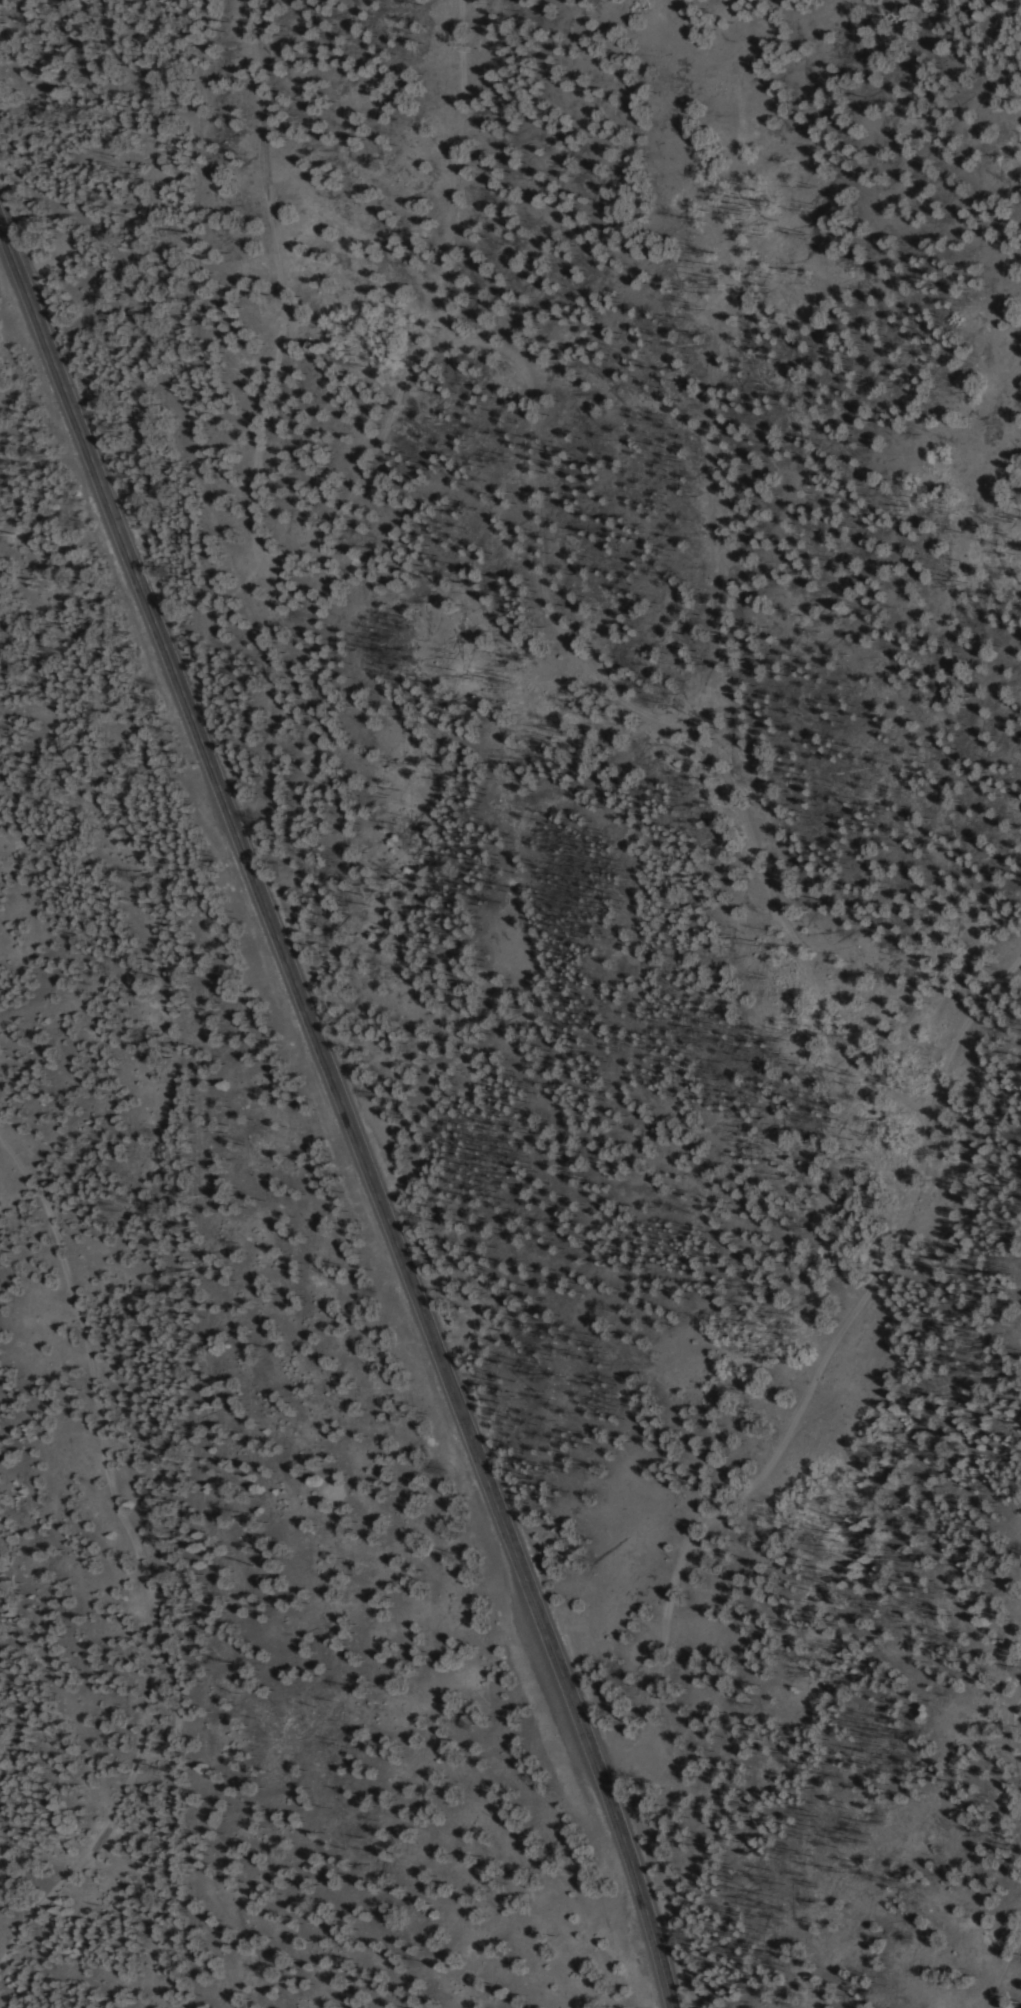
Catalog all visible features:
road: (42, 115)
road: (28, 191)
road: (343, 1114)
road: (125, 1558)

